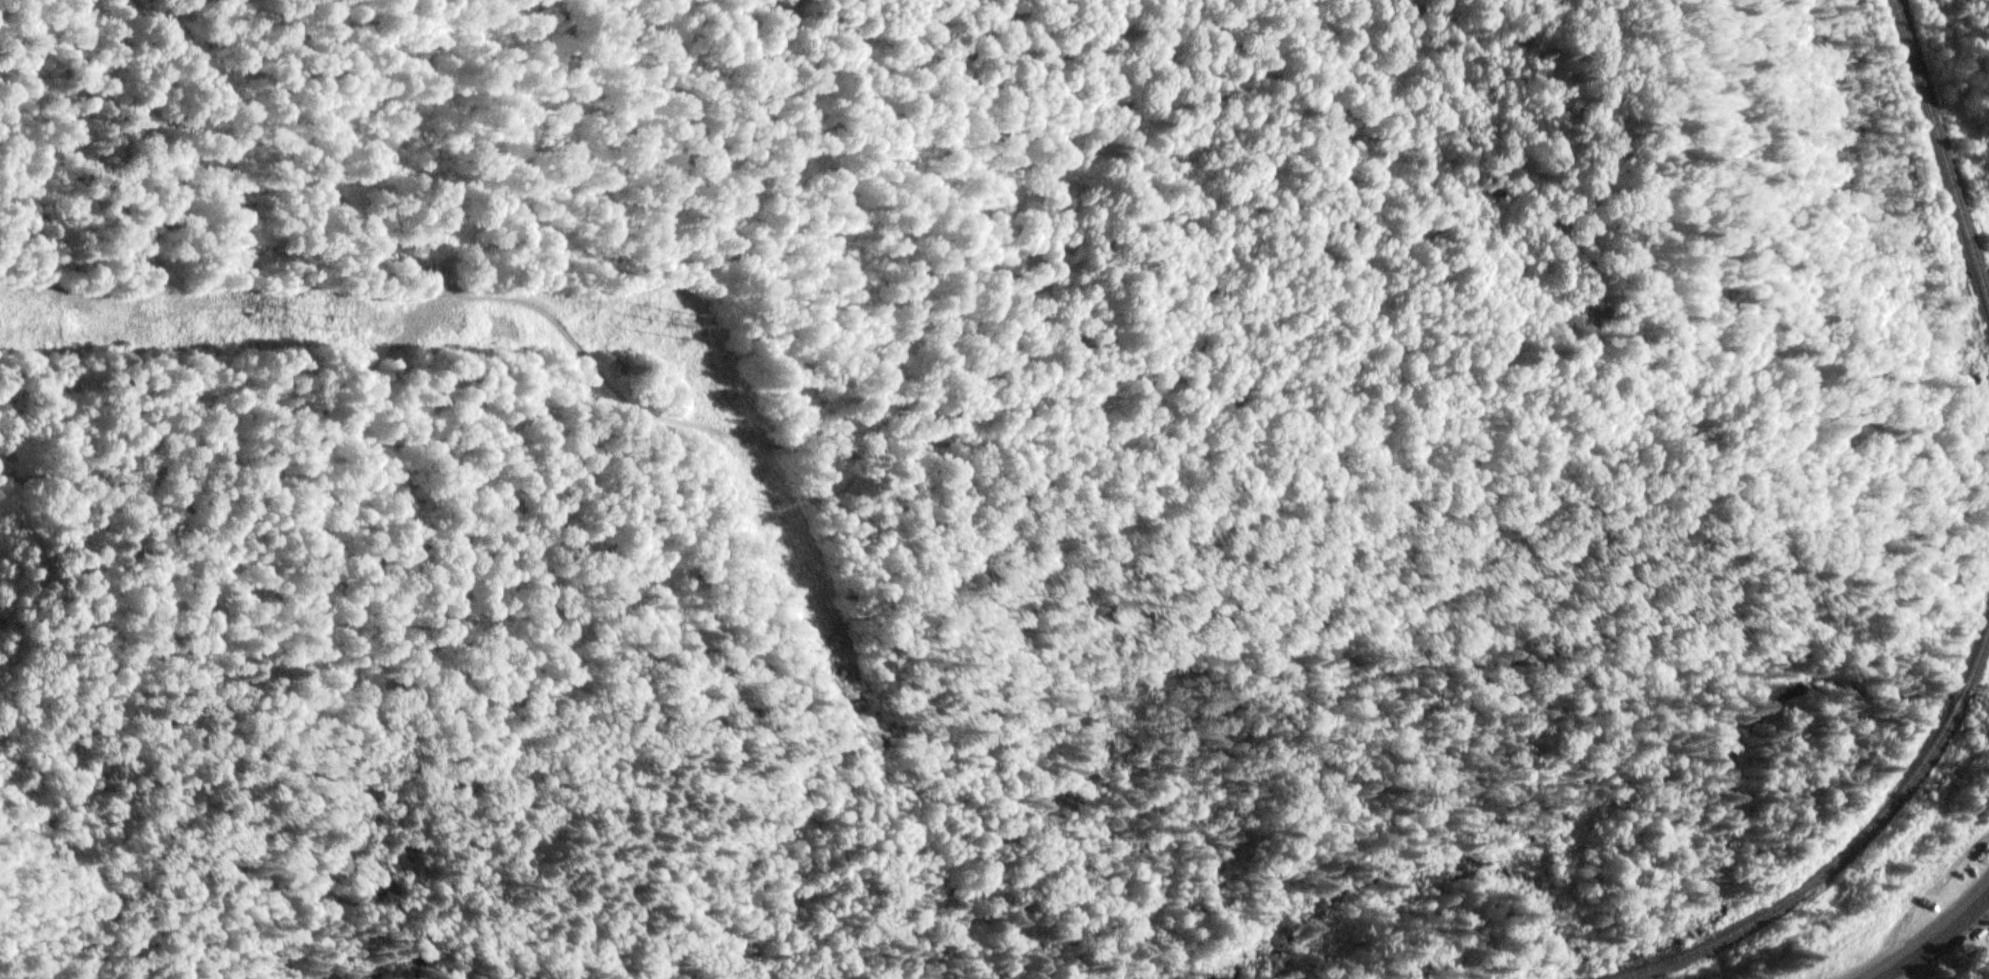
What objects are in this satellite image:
railway: (1942, 150)
power tower: (328, 325)
power tower: (689, 331)
power tower: (770, 504)
railway: (1979, 659)
railway: (1965, 695)
railway: (1819, 878)
parking lot: (1959, 907)
river: (1669, 938)
road: (1935, 938)
park: (1963, 957)

